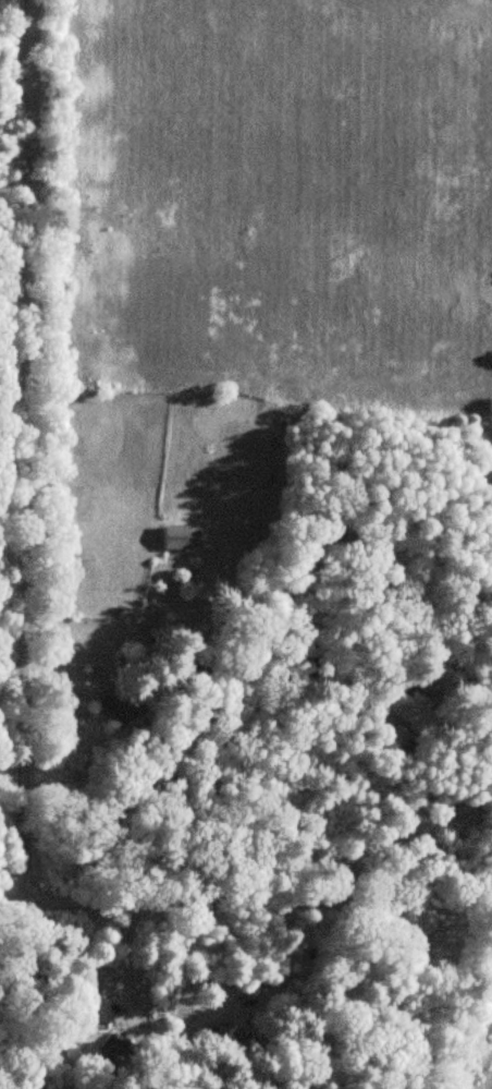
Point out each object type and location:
road: (20, 479)
building: (180, 539)
building: (116, 707)
building: (397, 709)
road: (10, 873)
road: (255, 906)
building: (96, 1012)

